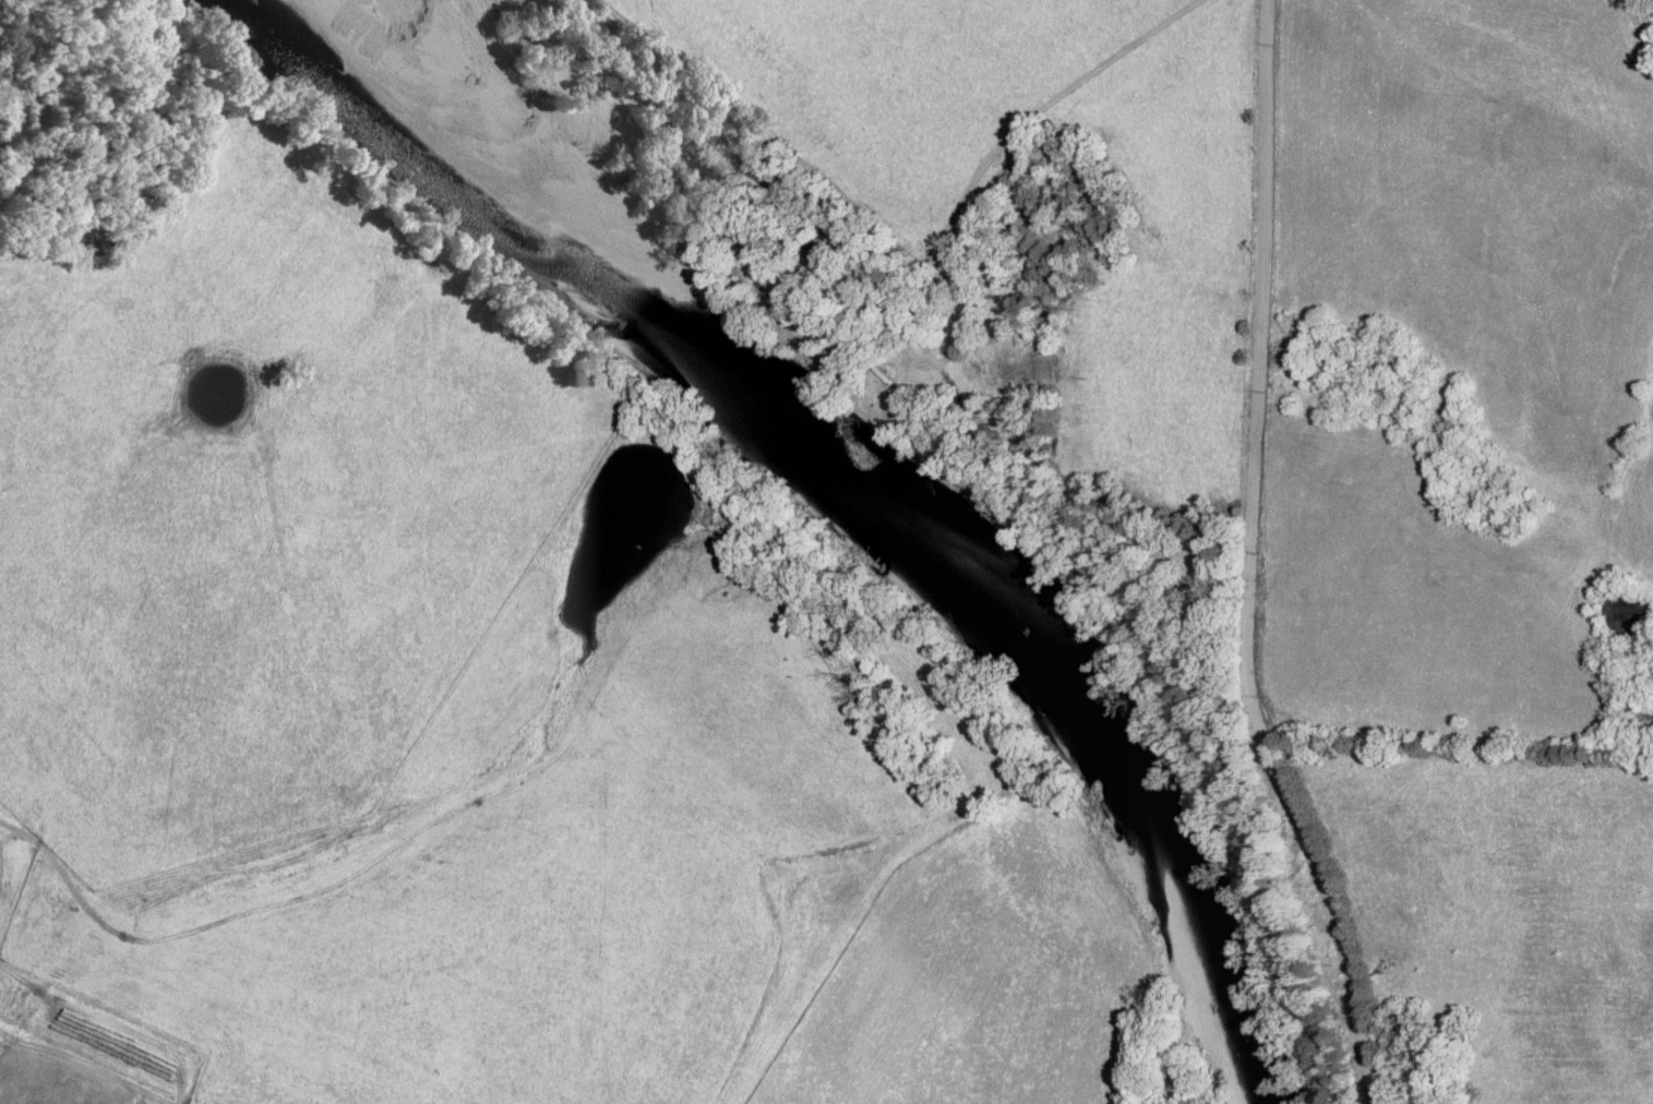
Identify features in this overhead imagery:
river: (865, 481)
road: (1249, 568)
road: (164, 927)

